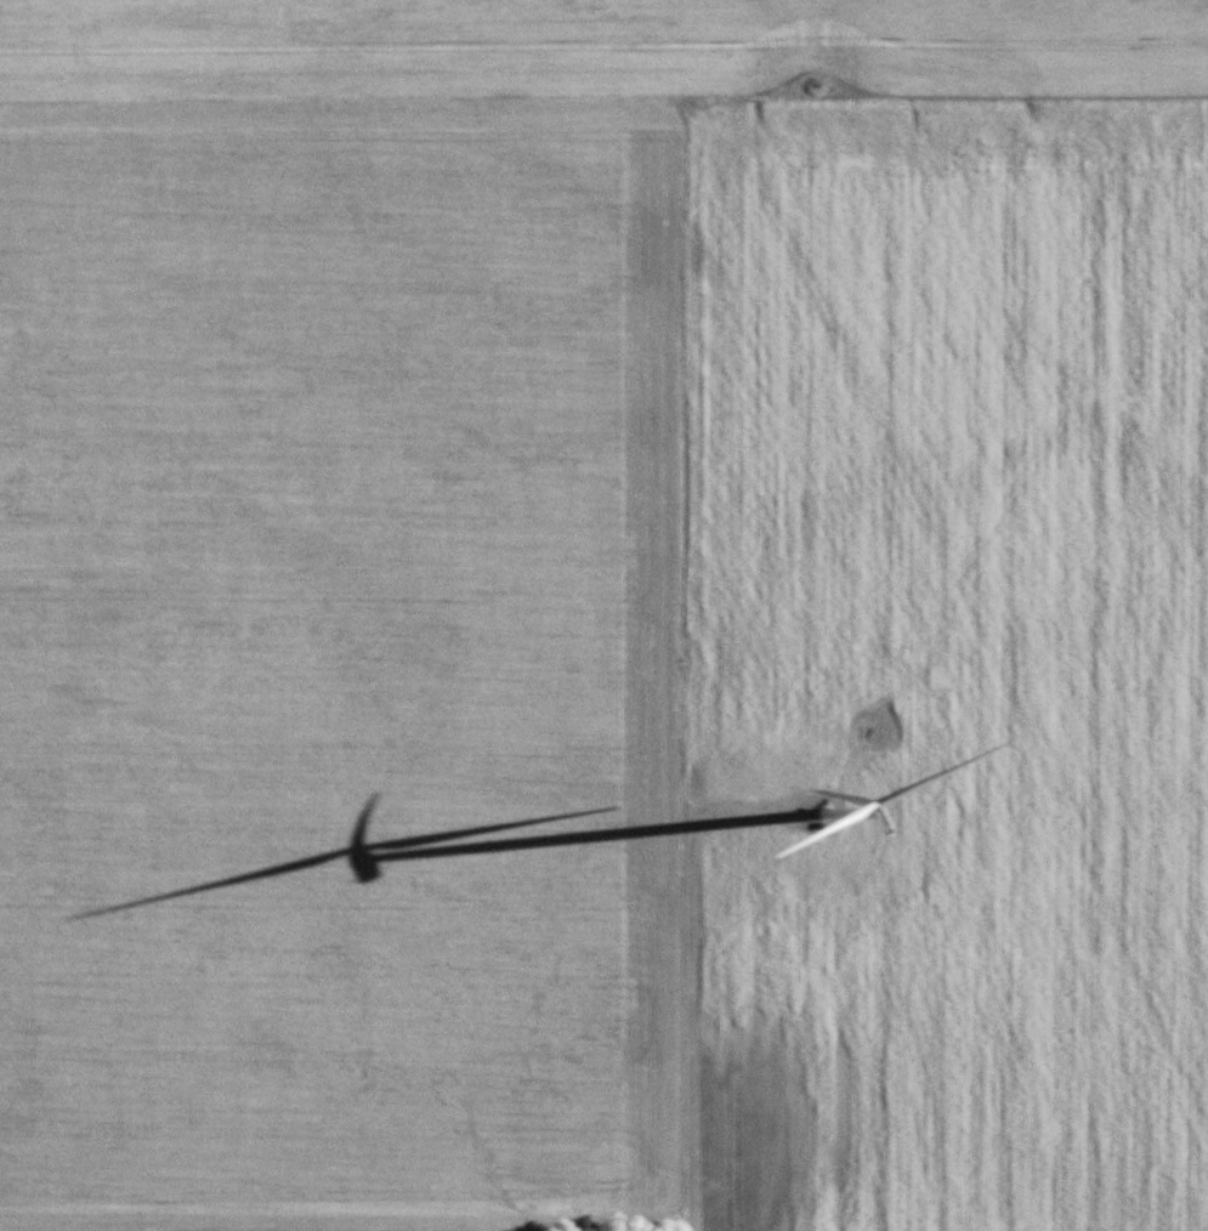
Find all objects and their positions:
wind turbine: (818, 811)
road: (668, 974)

